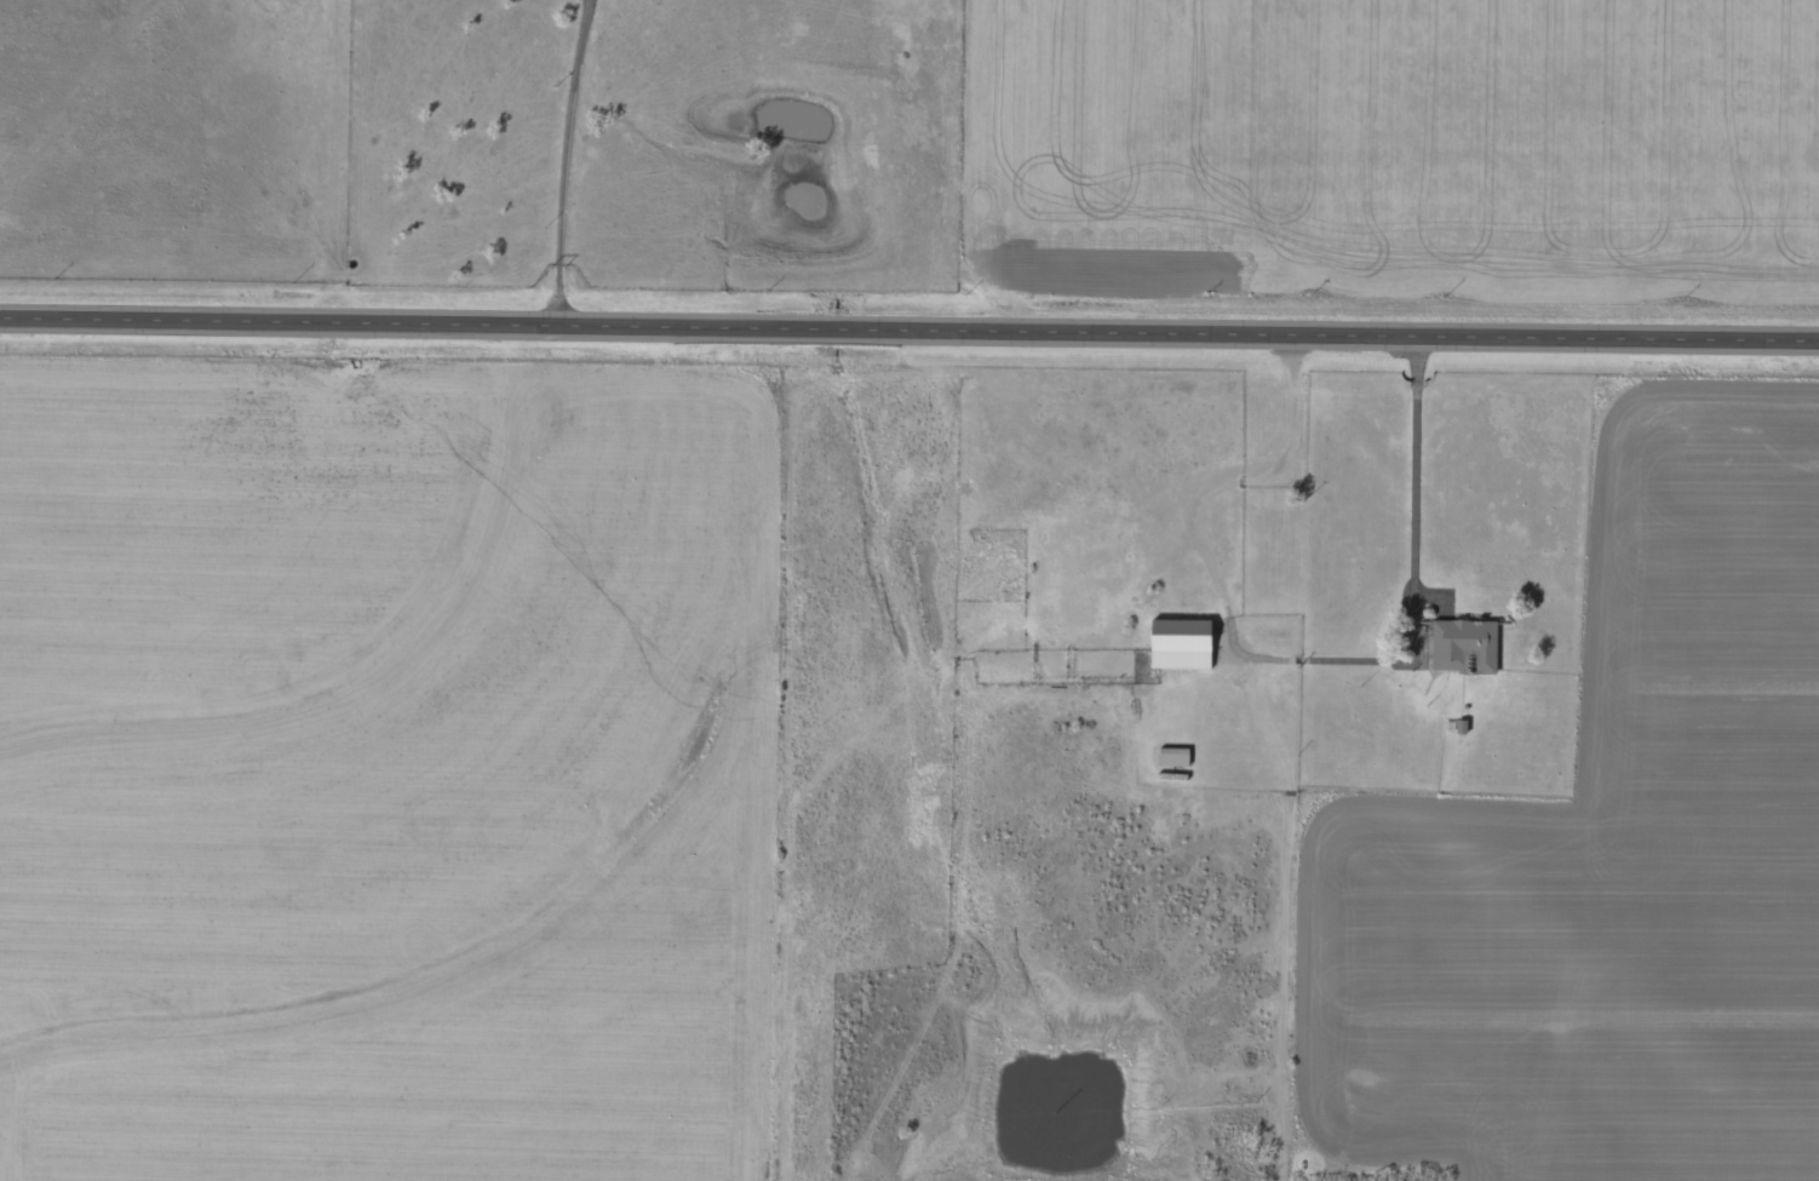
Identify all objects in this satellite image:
road: (566, 159)
road: (908, 328)
building: (1177, 647)
building: (1463, 648)
road: (1259, 739)
building: (1171, 759)

